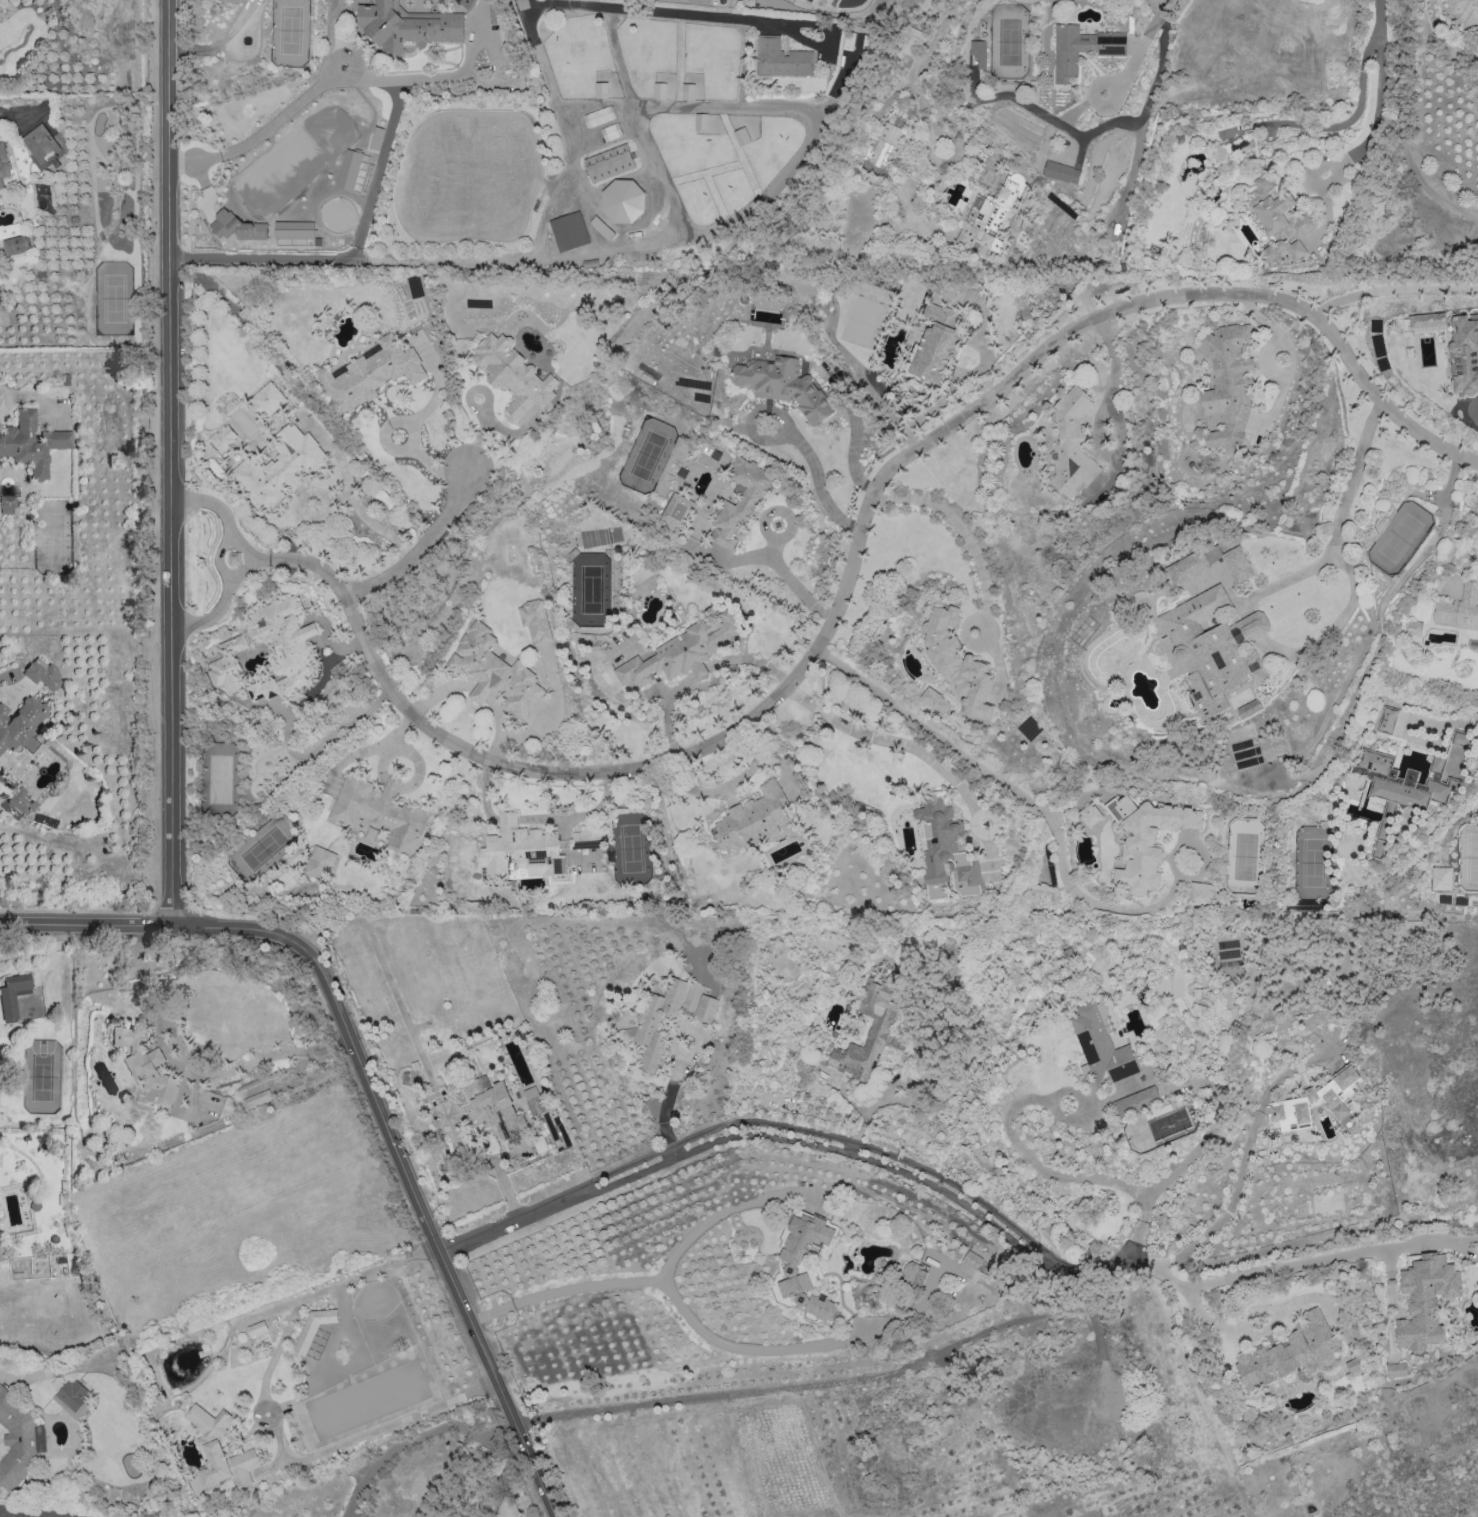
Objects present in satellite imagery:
building: (465, 1)
road: (1380, 8)
building: (495, 12)
road: (657, 12)
building: (1465, 13)
building: (407, 26)
building: (911, 41)
building: (1081, 48)
building: (980, 52)
building: (782, 58)
road: (924, 67)
road: (1160, 70)
building: (660, 91)
building: (688, 91)
road: (1380, 93)
road: (1354, 113)
building: (599, 116)
road: (8, 118)
building: (701, 121)
road: (1401, 126)
road: (262, 127)
road: (1106, 127)
building: (885, 142)
road: (1135, 142)
building: (40, 145)
road: (950, 162)
building: (3, 163)
building: (609, 163)
building: (349, 170)
building: (1061, 172)
building: (624, 202)
building: (987, 218)
building: (1279, 222)
building: (294, 230)
building: (569, 231)
road: (1171, 238)
building: (17, 245)
road: (485, 257)
road: (1391, 290)
building: (1428, 320)
building: (938, 344)
building: (1464, 353)
road: (1294, 357)
road: (969, 373)
building: (371, 374)
building: (514, 375)
building: (1228, 384)
building: (784, 385)
road: (30, 398)
building: (267, 400)
road: (1099, 423)
building: (223, 438)
road: (413, 443)
building: (31, 444)
building: (1071, 444)
road: (853, 445)
road: (172, 462)
building: (280, 469)
road: (818, 475)
road: (340, 498)
building: (742, 502)
building: (7, 505)
building: (679, 511)
road: (222, 513)
road: (957, 528)
road: (423, 547)
road: (856, 551)
road: (263, 557)
road: (219, 558)
building: (234, 558)
building: (1190, 565)
road: (789, 576)
road: (222, 602)
building: (1459, 609)
building: (535, 620)
road: (1337, 620)
building: (1414, 628)
road: (965, 633)
building: (282, 647)
building: (1214, 649)
building: (683, 652)
building: (958, 663)
building: (228, 665)
road: (1001, 669)
building: (494, 672)
building: (43, 675)
building: (934, 701)
building: (1249, 708)
building: (1387, 720)
building: (19, 724)
road: (1441, 725)
building: (1459, 740)
road: (894, 741)
building: (1271, 746)
building: (1401, 788)
road: (1020, 793)
building: (21, 802)
building: (379, 810)
building: (1089, 815)
building: (753, 819)
road: (981, 826)
building: (1147, 840)
building: (521, 850)
building: (946, 852)
road: (1206, 856)
building: (320, 863)
building: (1441, 878)
road: (989, 886)
building: (1199, 893)
road: (45, 968)
building: (13, 995)
building: (705, 1008)
building: (658, 1022)
building: (880, 1026)
building: (1101, 1045)
road: (419, 1050)
building: (146, 1066)
road: (190, 1080)
road: (373, 1088)
building: (256, 1098)
road: (668, 1098)
road: (885, 1099)
building: (1304, 1099)
building: (534, 1101)
building: (1137, 1101)
road: (1053, 1107)
building: (497, 1108)
road: (1246, 1149)
road: (1192, 1151)
road: (1050, 1172)
road: (932, 1179)
road: (1133, 1241)
road: (1304, 1261)
building: (978, 1263)
building: (794, 1267)
building: (914, 1273)
road: (639, 1282)
road: (1193, 1286)
building: (1425, 1300)
building: (257, 1328)
building: (312, 1328)
road: (1249, 1331)
road: (737, 1346)
building: (1288, 1352)
building: (1352, 1366)
building: (1396, 1370)
road: (7, 1376)
road: (857, 1379)
building: (73, 1397)
road: (266, 1413)
building: (18, 1440)
building: (220, 1450)
road: (500, 1478)
road: (23, 1514)
road: (9, 1515)

